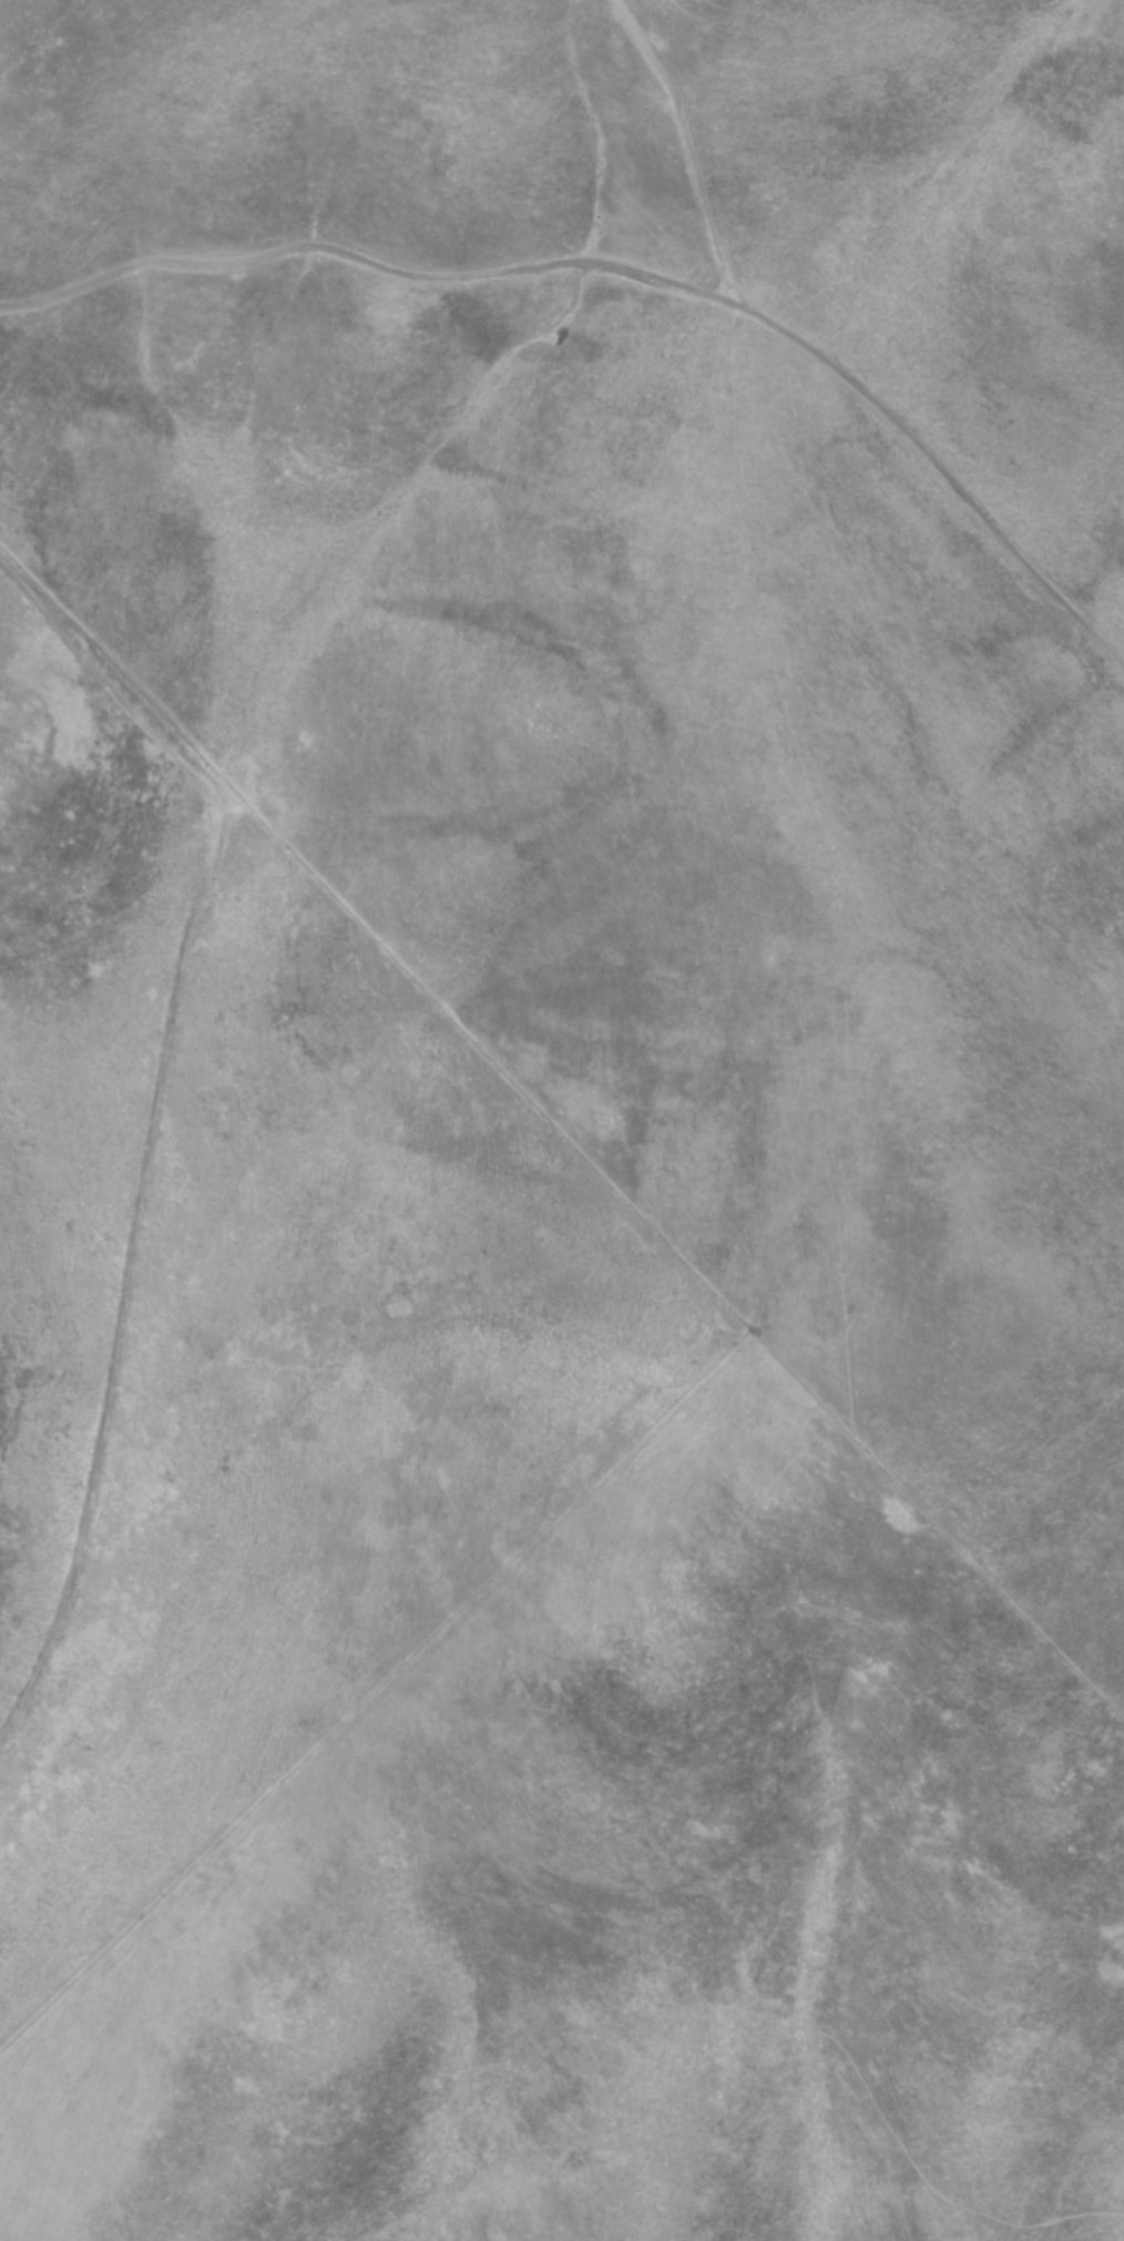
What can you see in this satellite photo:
road: (626, 269)

